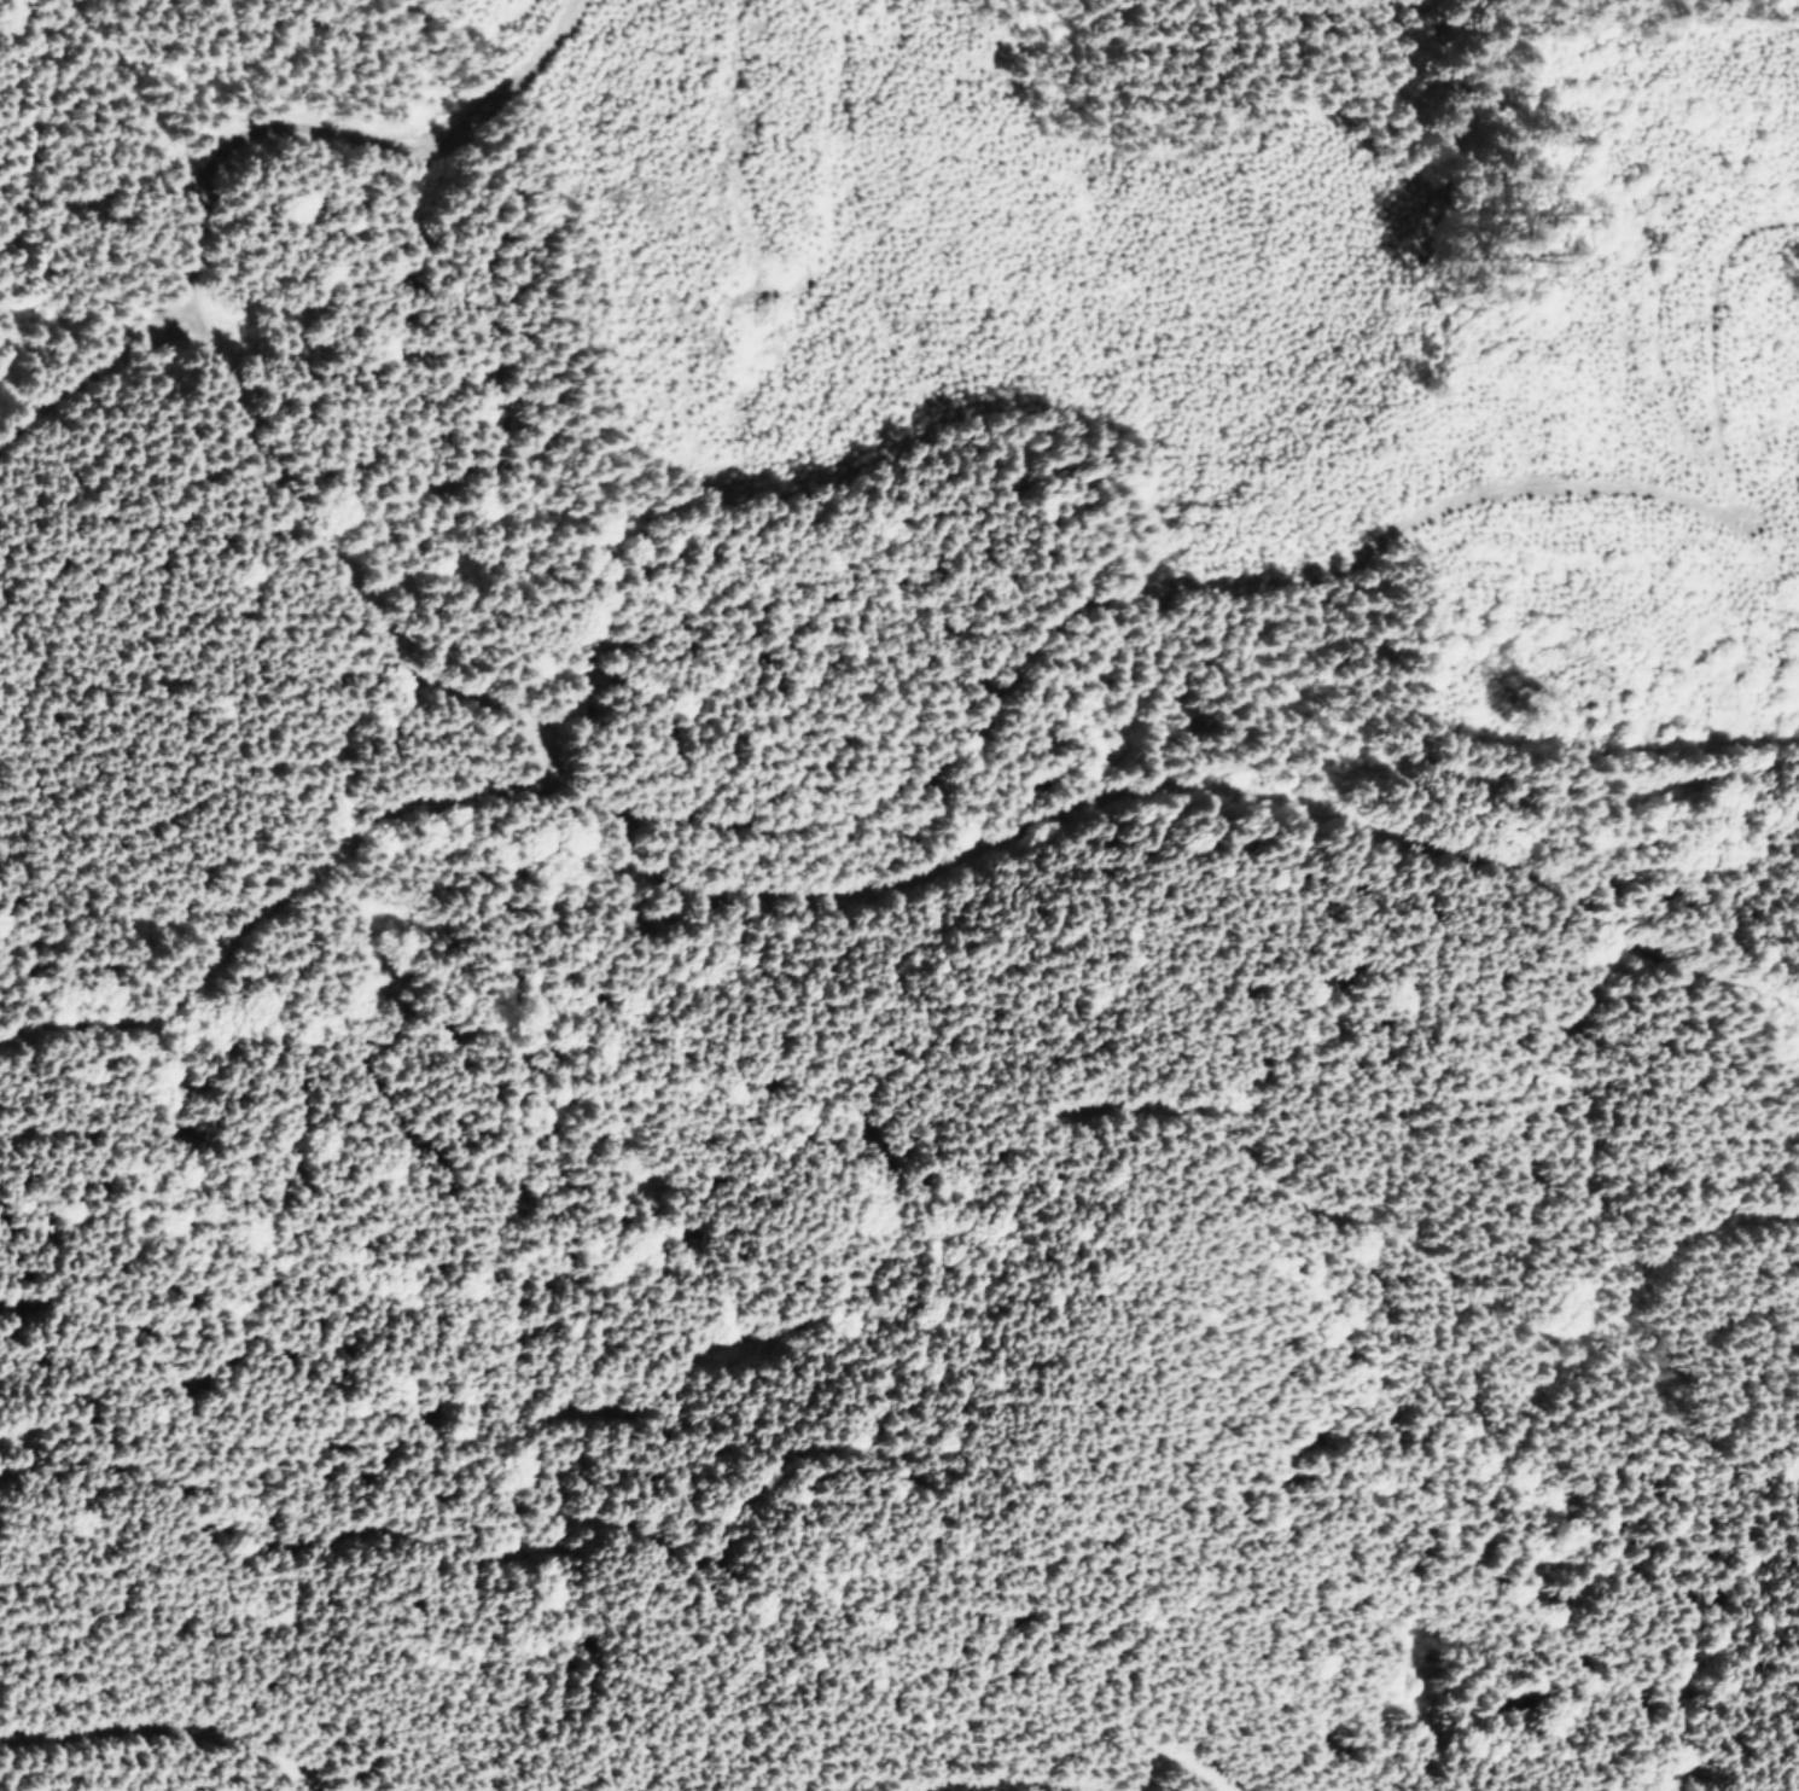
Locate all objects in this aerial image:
road: (338, 130)
road: (89, 382)
road: (1006, 665)
road: (1210, 783)
road: (276, 911)
road: (1791, 1037)
road: (1433, 1267)
road: (177, 1731)
road: (1182, 1757)
road: (1009, 1790)

